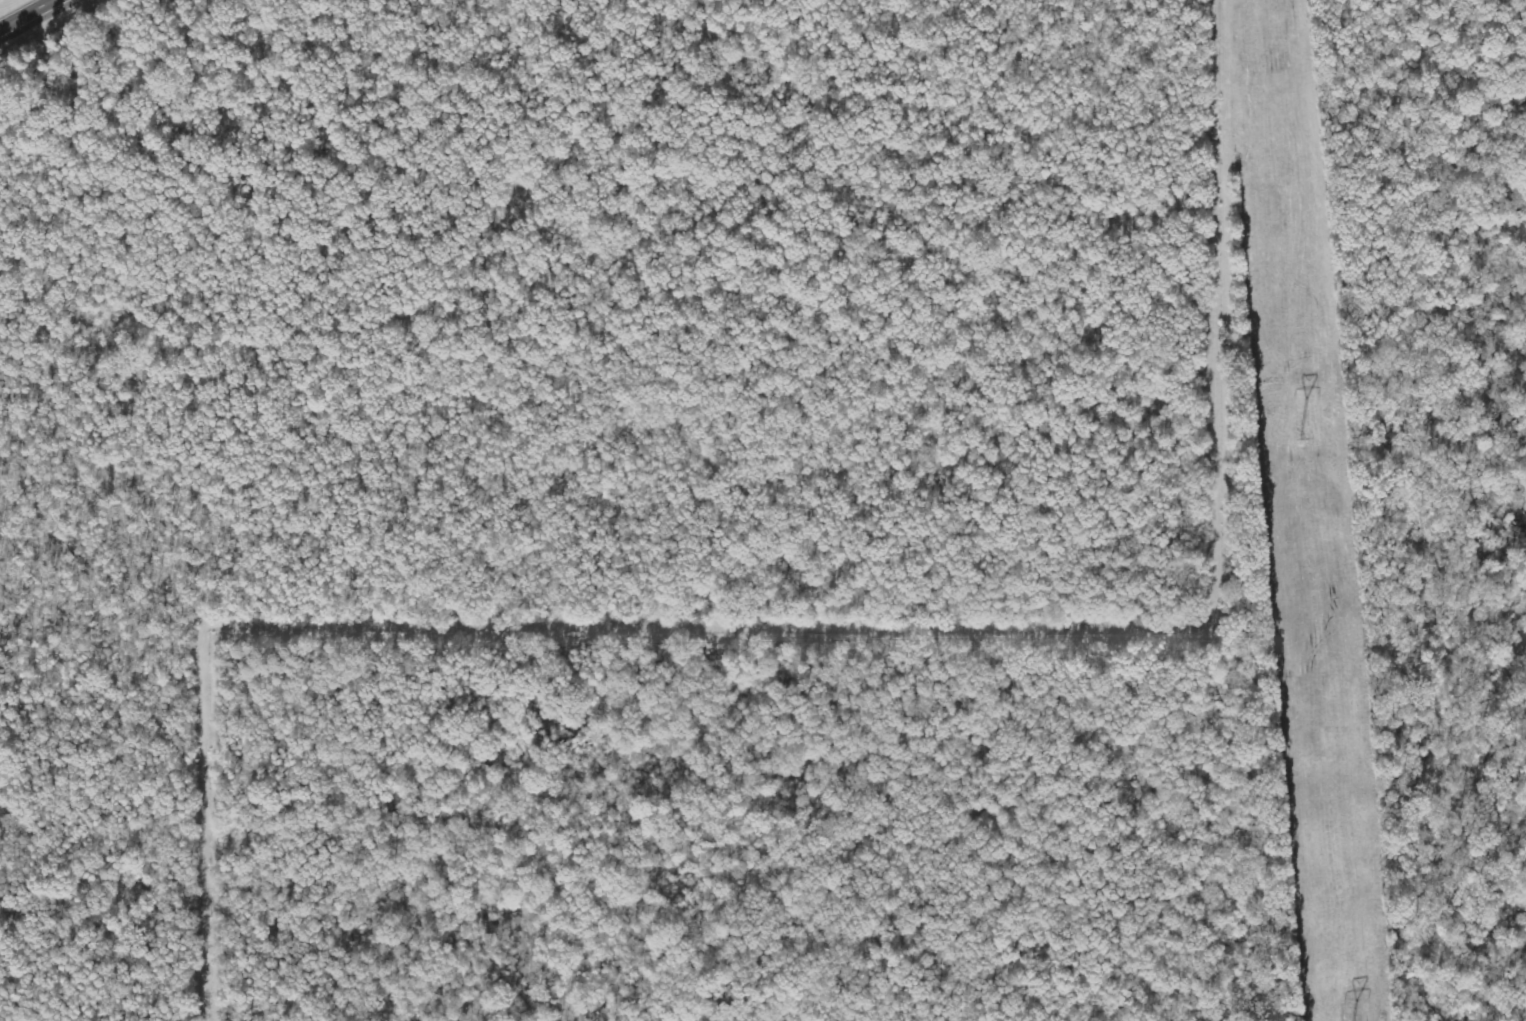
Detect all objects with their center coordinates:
road: (20, 11)
power tower: (1301, 439)

